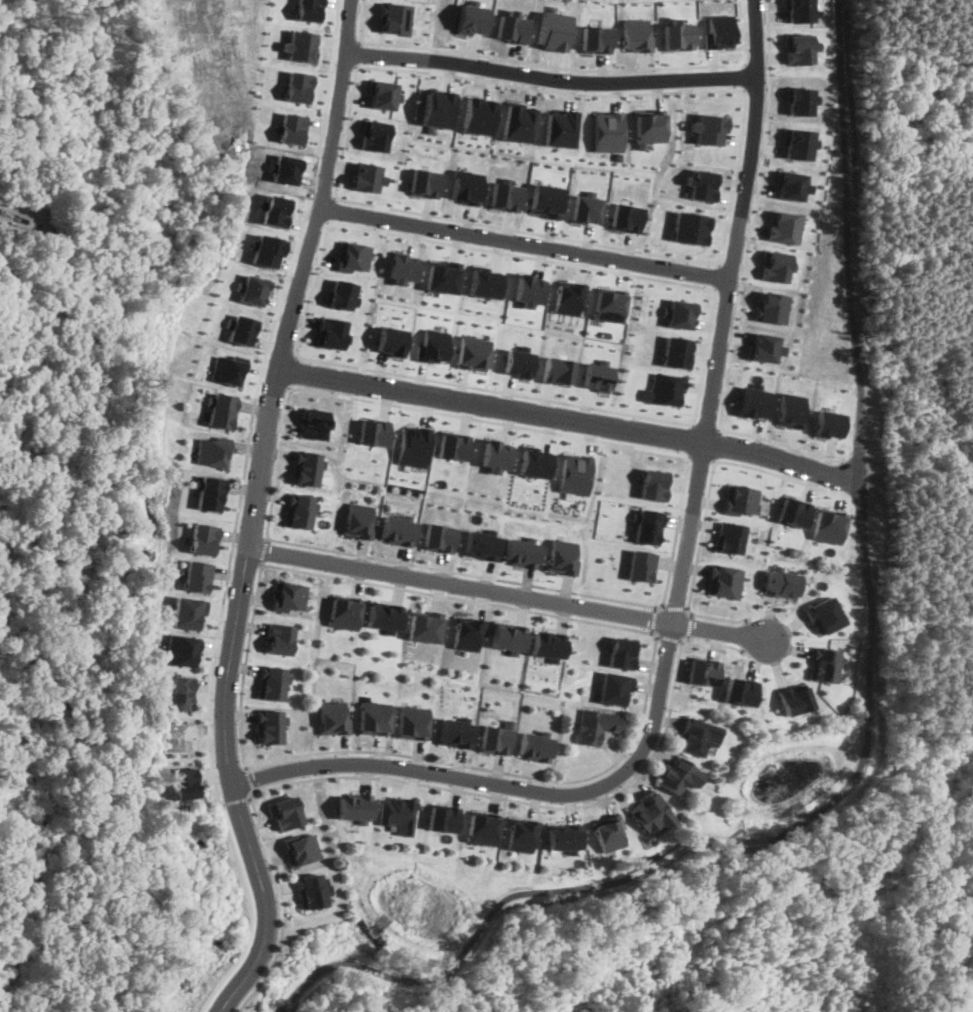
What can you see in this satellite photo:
building: (308, 10)
building: (799, 10)
building: (396, 18)
building: (472, 19)
building: (512, 26)
building: (553, 30)
building: (718, 31)
building: (635, 34)
building: (677, 34)
road: (360, 38)
building: (596, 38)
building: (299, 45)
building: (799, 47)
road: (357, 52)
road: (331, 54)
road: (742, 61)
road: (343, 65)
road: (562, 67)
road: (744, 75)
road: (550, 78)
building: (297, 86)
road: (756, 88)
road: (743, 90)
building: (384, 94)
building: (800, 100)
building: (437, 109)
building: (479, 115)
building: (520, 122)
building: (651, 127)
building: (562, 128)
building: (708, 128)
road: (346, 130)
building: (609, 131)
building: (376, 135)
building: (798, 143)
road: (765, 146)
building: (366, 176)
road: (736, 178)
building: (425, 182)
building: (703, 184)
building: (793, 185)
road: (323, 186)
building: (468, 186)
building: (506, 196)
building: (548, 200)
road: (329, 208)
building: (587, 208)
building: (627, 217)
building: (786, 226)
building: (691, 227)
road: (525, 242)
building: (354, 256)
road: (720, 262)
building: (777, 265)
building: (403, 267)
building: (445, 275)
road: (719, 276)
building: (486, 281)
road: (311, 288)
building: (251, 289)
building: (529, 289)
road: (715, 289)
road: (728, 290)
building: (342, 293)
building: (569, 296)
building: (610, 304)
building: (773, 307)
building: (679, 313)
building: (240, 329)
building: (332, 332)
building: (392, 340)
building: (433, 345)
building: (765, 346)
building: (678, 351)
building: (473, 352)
road: (705, 358)
building: (518, 362)
building: (557, 369)
building: (229, 370)
road: (292, 371)
building: (598, 374)
road: (274, 383)
road: (291, 388)
building: (664, 389)
building: (755, 402)
building: (221, 409)
building: (792, 409)
road: (572, 421)
building: (313, 423)
road: (719, 423)
building: (829, 423)
road: (705, 424)
building: (373, 432)
road: (688, 438)
road: (718, 444)
building: (412, 445)
building: (453, 445)
building: (211, 451)
building: (495, 454)
road: (700, 457)
building: (536, 462)
building: (305, 467)
building: (576, 473)
building: (654, 484)
building: (207, 492)
building: (740, 499)
road: (708, 500)
building: (298, 510)
building: (794, 511)
building: (358, 519)
building: (645, 525)
building: (828, 526)
building: (398, 527)
road: (249, 536)
building: (438, 536)
road: (233, 537)
building: (730, 537)
building: (200, 538)
building: (481, 544)
road: (262, 549)
building: (520, 552)
building: (561, 556)
building: (640, 565)
road: (670, 566)
building: (194, 575)
building: (726, 580)
building: (783, 583)
road: (680, 591)
building: (274, 593)
building: (290, 595)
road: (510, 595)
road: (675, 608)
building: (185, 611)
building: (344, 611)
building: (825, 614)
building: (383, 615)
road: (656, 619)
building: (423, 626)
road: (692, 627)
building: (464, 633)
building: (506, 637)
building: (278, 638)
road: (671, 638)
building: (547, 645)
building: (179, 650)
building: (622, 652)
building: (823, 664)
road: (245, 665)
building: (705, 670)
building: (272, 682)
building: (615, 688)
road: (649, 690)
building: (740, 690)
building: (179, 691)
road: (225, 697)
building: (793, 698)
building: (332, 717)
building: (372, 717)
building: (410, 721)
building: (596, 724)
building: (269, 725)
building: (453, 732)
building: (699, 736)
building: (494, 737)
building: (533, 746)
building: (679, 774)
road: (250, 780)
building: (183, 782)
road: (436, 786)
road: (234, 801)
building: (353, 807)
building: (284, 811)
building: (650, 812)
building: (396, 813)
building: (441, 817)
building: (481, 828)
building: (608, 832)
building: (520, 834)
building: (563, 837)
building: (300, 847)
building: (312, 889)
road: (249, 909)

